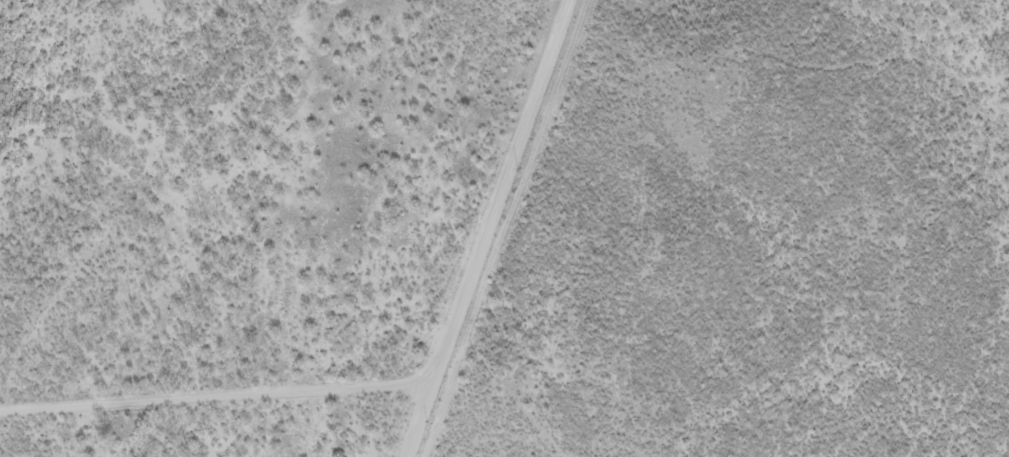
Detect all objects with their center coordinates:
road: (506, 228)

